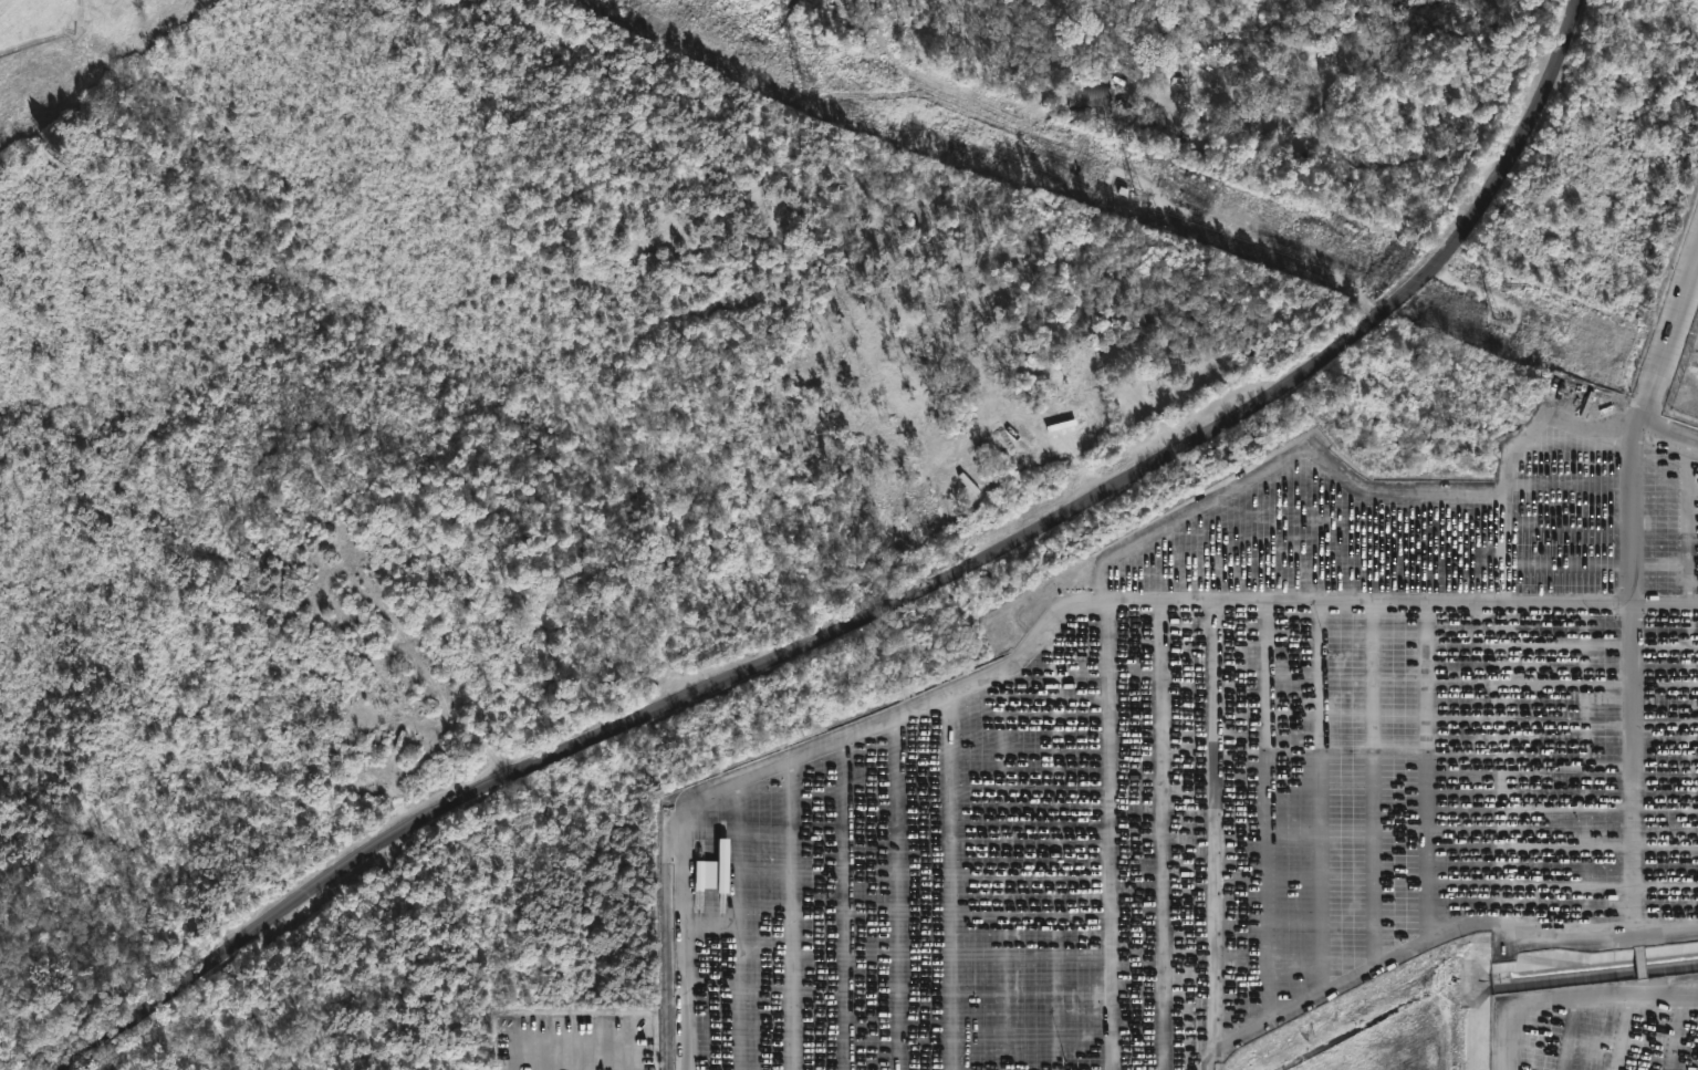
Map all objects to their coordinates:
power tower: (827, 49)
building: (1095, 95)
building: (1304, 101)
power tower: (1127, 165)
building: (1149, 320)
road: (1666, 339)
road: (1665, 441)
road: (1356, 481)
road: (894, 610)
road: (1042, 632)
road: (1633, 681)
road: (1691, 688)
road: (1480, 762)
road: (1585, 770)
road: (1428, 771)
road: (1534, 771)
road: (1374, 786)
road: (1322, 798)
road: (1269, 812)
road: (1215, 827)
road: (1108, 837)
road: (1159, 837)
road: (1054, 845)
building: (722, 865)
building: (705, 874)
road: (958, 877)
road: (905, 889)
road: (853, 901)
road: (798, 911)
road: (1435, 937)
road: (1638, 938)
road: (1640, 963)
road: (1643, 986)
road: (1569, 995)

